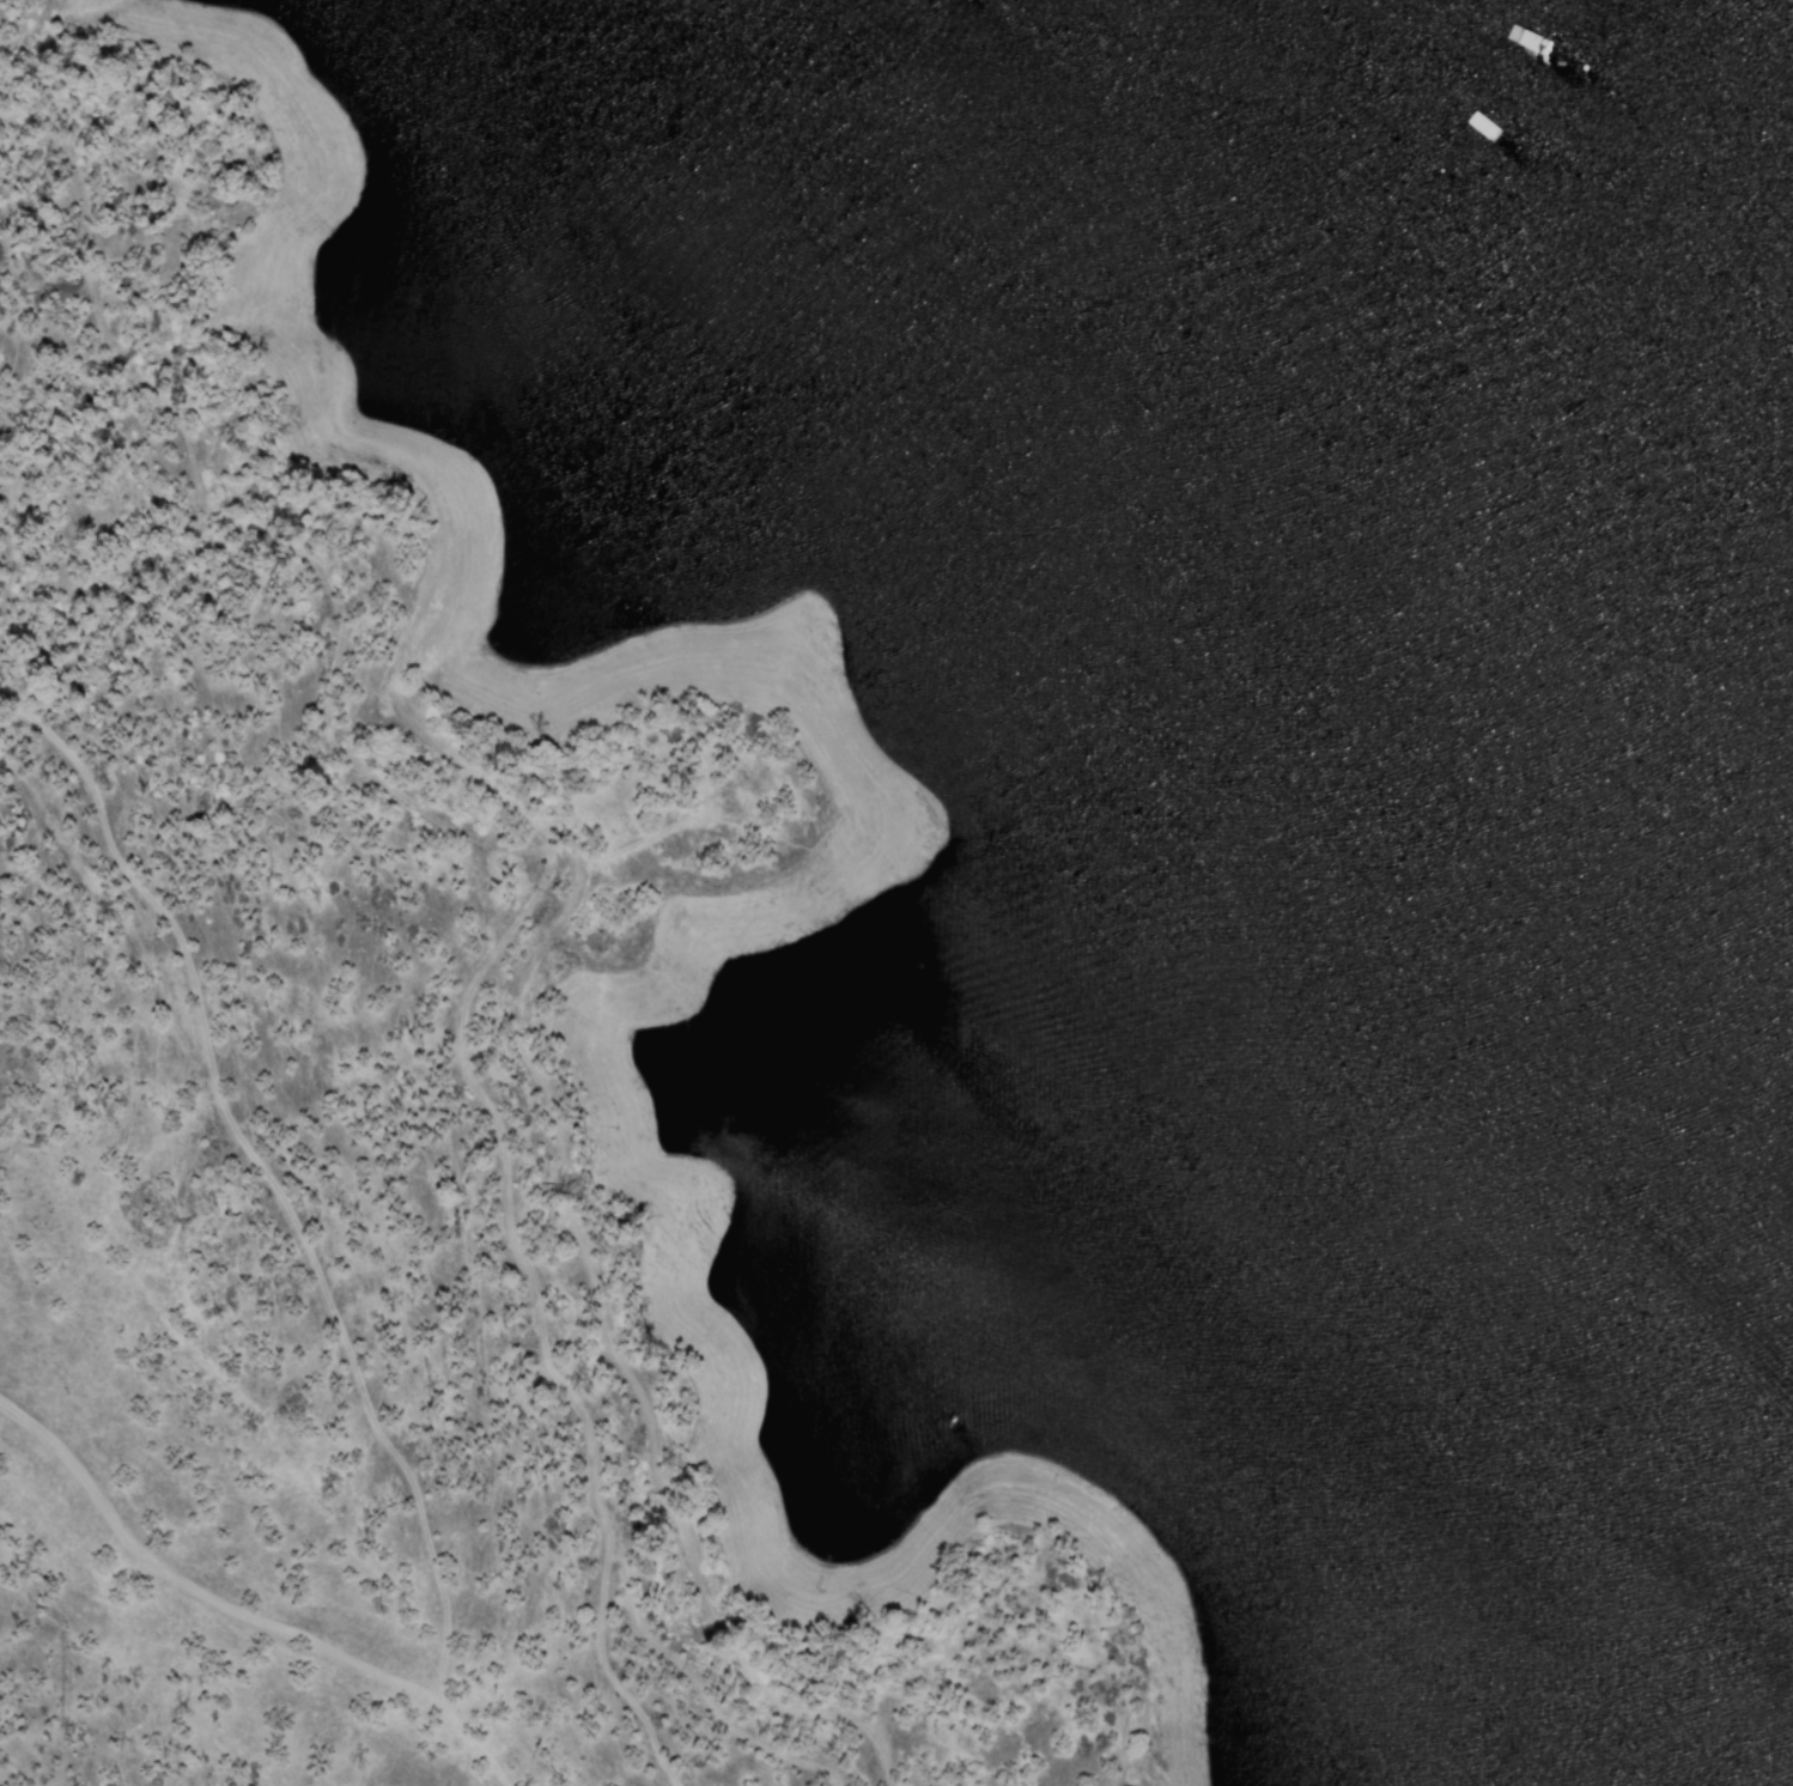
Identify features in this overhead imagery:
building: (997, 35)
building: (1396, 151)
building: (1065, 182)
road: (500, 1143)
road: (187, 1585)
road: (676, 1659)

